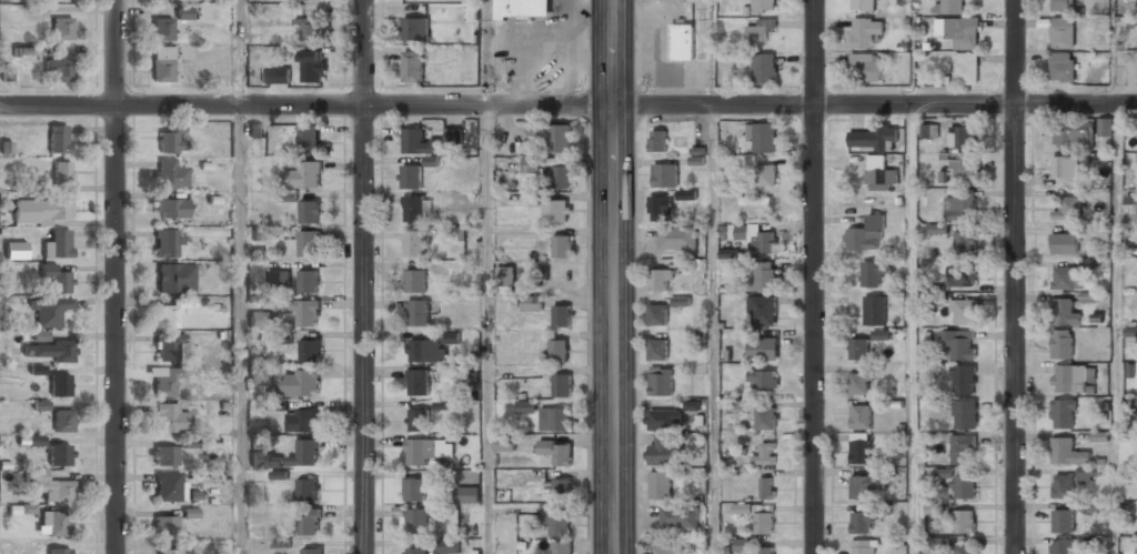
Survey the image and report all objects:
building: (763, 6)
building: (863, 6)
building: (947, 6)
building: (1063, 6)
building: (522, 8)
building: (184, 13)
building: (1133, 21)
building: (62, 28)
building: (161, 29)
building: (310, 29)
building: (415, 29)
building: (865, 31)
building: (958, 31)
building: (759, 32)
building: (1063, 32)
building: (654, 41)
building: (682, 42)
road: (240, 52)
road: (486, 52)
road: (912, 52)
building: (162, 63)
building: (313, 66)
building: (412, 66)
building: (867, 66)
building: (764, 68)
building: (967, 68)
building: (1061, 68)
building: (59, 70)
building: (275, 75)
road: (567, 105)
building: (1105, 127)
building: (255, 131)
building: (930, 131)
building: (1071, 132)
building: (453, 135)
building: (553, 135)
building: (962, 137)
building: (309, 138)
building: (763, 138)
building: (872, 138)
building: (58, 139)
building: (171, 139)
building: (658, 141)
building: (419, 143)
building: (531, 164)
building: (963, 167)
building: (1065, 168)
building: (879, 171)
building: (62, 172)
building: (169, 173)
building: (304, 174)
building: (665, 174)
building: (765, 174)
building: (410, 175)
building: (559, 177)
building: (686, 194)
building: (286, 197)
building: (532, 199)
building: (755, 200)
building: (1135, 203)
building: (171, 208)
building: (660, 208)
building: (959, 208)
building: (414, 209)
building: (1067, 209)
building: (556, 210)
building: (42, 211)
building: (310, 211)
building: (938, 228)
building: (1097, 233)
building: (866, 234)
building: (677, 238)
building: (756, 238)
building: (964, 241)
building: (309, 242)
building: (165, 243)
building: (413, 243)
building: (1065, 243)
building: (58, 244)
building: (562, 245)
building: (16, 251)
building: (871, 273)
building: (506, 275)
building: (764, 275)
building: (962, 275)
road: (115, 276)
building: (279, 276)
road: (364, 276)
road: (614, 276)
road: (815, 276)
road: (1015, 276)
building: (174, 278)
building: (1063, 278)
building: (56, 279)
building: (308, 280)
building: (415, 280)
building: (661, 280)
building: (680, 301)
building: (532, 303)
building: (305, 309)
building: (874, 310)
building: (762, 311)
building: (964, 311)
building: (1064, 311)
building: (50, 312)
building: (419, 312)
building: (657, 313)
building: (168, 315)
building: (562, 315)
building: (260, 320)
road: (239, 329)
road: (487, 329)
road: (912, 329)
road: (1117, 329)
road: (713, 330)
building: (881, 334)
building: (40, 335)
building: (283, 338)
building: (451, 338)
building: (959, 342)
building: (1061, 343)
building: (169, 347)
building: (763, 347)
building: (310, 349)
building: (657, 349)
building: (858, 349)
building: (426, 350)
building: (559, 351)
building: (49, 352)
building: (37, 370)
building: (260, 375)
building: (764, 377)
building: (963, 377)
building: (1068, 377)
building: (661, 380)
building: (300, 382)
building: (419, 382)
building: (167, 383)
building: (858, 383)
building: (59, 385)
building: (562, 385)
building: (37, 405)
building: (693, 405)
building: (526, 406)
building: (965, 413)
building: (1063, 413)
building: (861, 416)
building: (1136, 416)
building: (170, 419)
building: (554, 419)
building: (664, 419)
building: (765, 419)
building: (417, 420)
building: (63, 421)
building: (302, 421)
building: (36, 441)
building: (504, 443)
building: (962, 447)
building: (859, 450)
building: (420, 451)
building: (1066, 451)
building: (304, 452)
building: (556, 452)
building: (663, 452)
building: (765, 453)
building: (60, 455)
building: (163, 456)
building: (266, 460)
building: (943, 473)
building: (1088, 473)
building: (660, 484)
building: (561, 485)
building: (865, 485)
building: (965, 485)
building: (1063, 485)
building: (169, 486)
building: (308, 486)
building: (767, 486)
building: (52, 487)
building: (414, 490)
building: (935, 492)
building: (467, 494)
building: (677, 516)
building: (415, 518)
building: (309, 520)
building: (1063, 520)
building: (765, 521)
building: (862, 521)
building: (965, 521)
building: (556, 522)
building: (52, 524)
building: (165, 526)
building: (742, 544)
building: (1086, 544)
building: (449, 546)
building: (862, 546)
building: (1063, 546)
building: (562, 547)
building: (664, 550)
building: (766, 550)
building: (966, 550)
building: (1136, 550)
building: (58, 551)
building: (172, 551)
building: (311, 551)
building: (415, 551)

